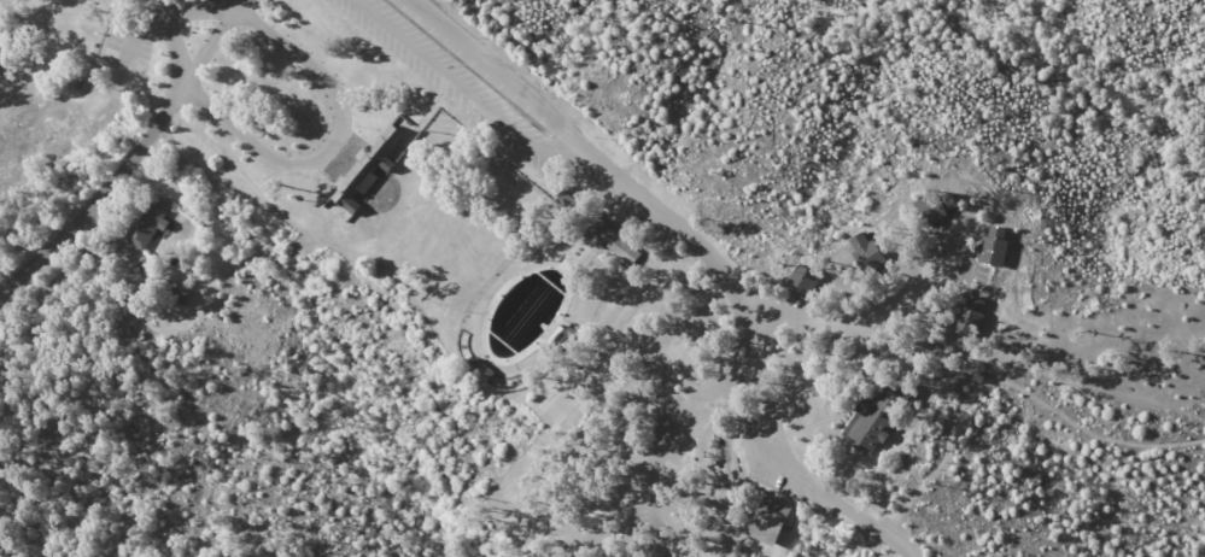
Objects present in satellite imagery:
road: (5, 1)
road: (142, 6)
road: (189, 13)
road: (207, 51)
road: (176, 55)
building: (2, 59)
park: (45, 61)
parking lot: (462, 82)
building: (69, 86)
road: (332, 140)
road: (586, 153)
building: (373, 164)
road: (94, 207)
building: (150, 218)
building: (612, 242)
building: (990, 252)
building: (806, 276)
park: (613, 282)
road: (909, 282)
building: (995, 291)
building: (970, 316)
road: (1010, 383)
building: (872, 422)
road: (661, 450)
road: (779, 465)
building: (771, 518)

